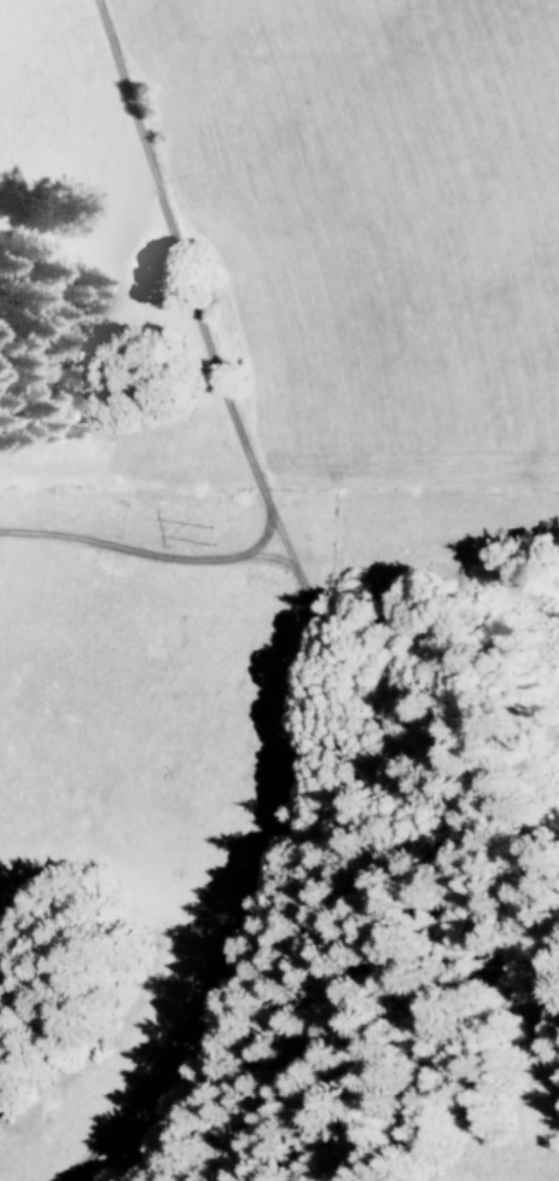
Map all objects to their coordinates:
power tower: (232, 532)

